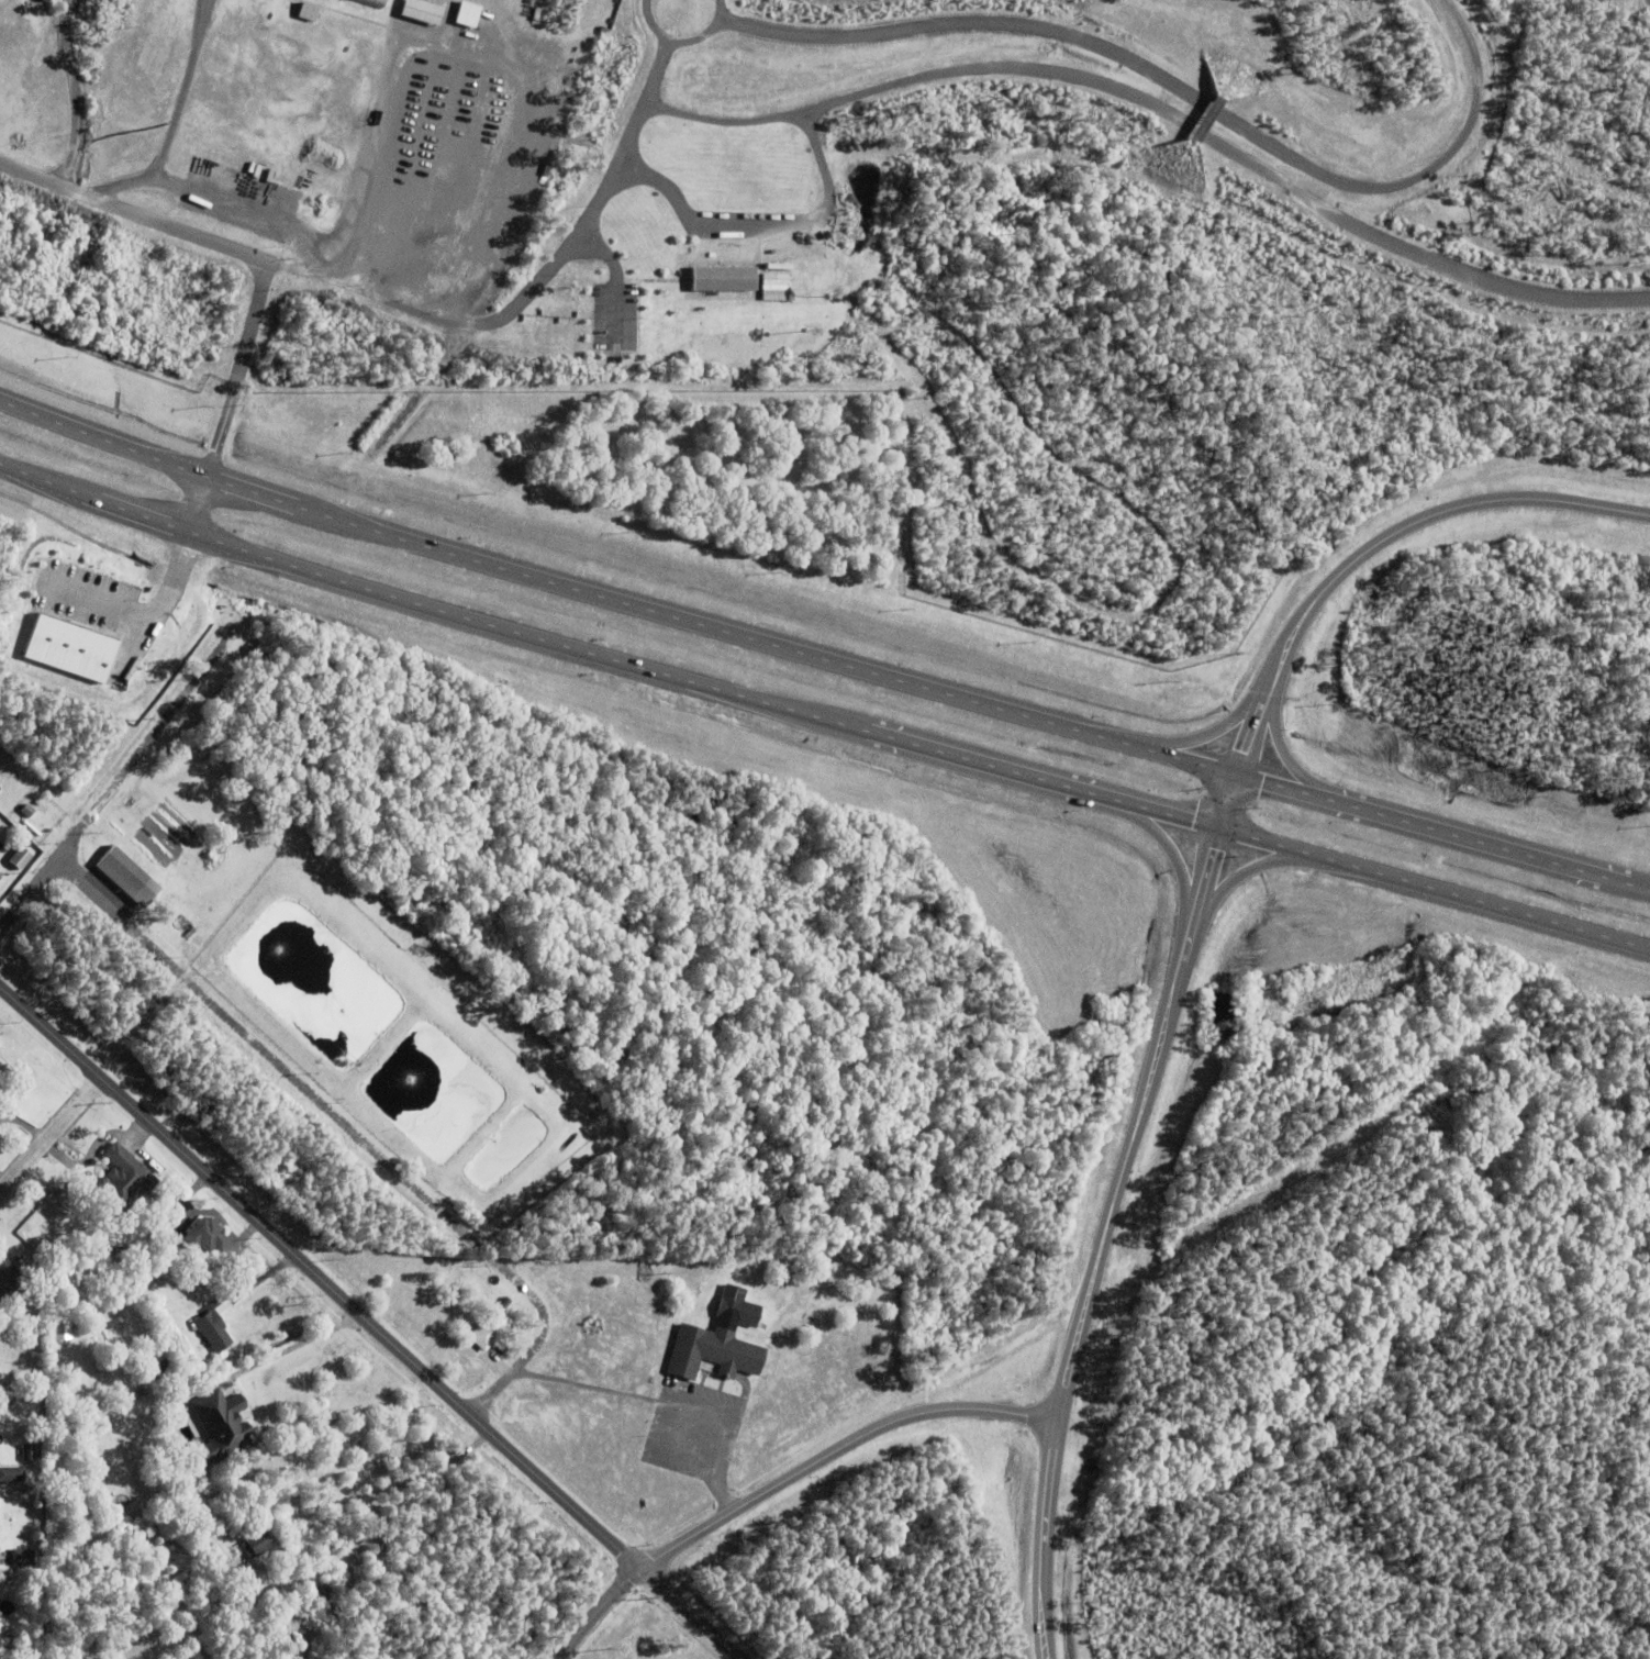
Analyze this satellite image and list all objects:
building: (377, 2)
building: (312, 10)
building: (427, 11)
building: (471, 13)
building: (497, 222)
road: (237, 249)
building: (726, 278)
road: (1378, 538)
road: (163, 589)
road: (610, 600)
building: (76, 647)
road: (603, 657)
road: (1208, 731)
traffic signals: (1238, 749)
road: (1282, 750)
traffic signals: (1261, 780)
road: (1222, 799)
building: (27, 811)
traffic signals: (1192, 821)
building: (32, 828)
road: (1439, 831)
road: (1162, 840)
traffic signals: (1208, 847)
building: (22, 858)
road: (1239, 873)
building: (0, 878)
building: (127, 878)
road: (36, 887)
road: (1431, 888)
building: (0, 1070)
road: (47, 1128)
road: (346, 1129)
building: (124, 1178)
building: (205, 1238)
road: (1099, 1238)
building: (169, 1240)
building: (79, 1280)
building: (11, 1283)
building: (142, 1291)
building: (738, 1307)
building: (64, 1322)
road: (368, 1324)
building: (484, 1328)
building: (213, 1332)
building: (712, 1355)
road: (669, 1391)
building: (223, 1423)
road: (656, 1447)
road: (832, 1449)
building: (29, 1454)
building: (11, 1477)
building: (256, 1544)
building: (22, 1559)
road: (591, 1610)
building: (330, 1614)
building: (33, 1641)

